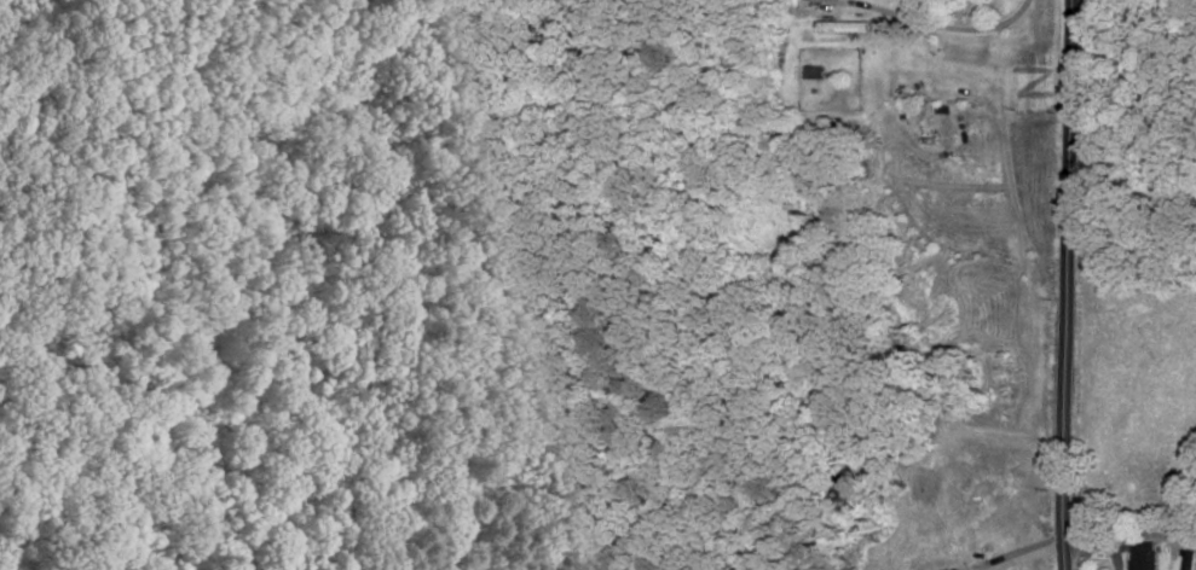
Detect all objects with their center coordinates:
road: (931, 24)
building: (845, 27)
building: (817, 71)
road: (1067, 285)
road: (1094, 549)
building: (1144, 556)
building: (1190, 560)

